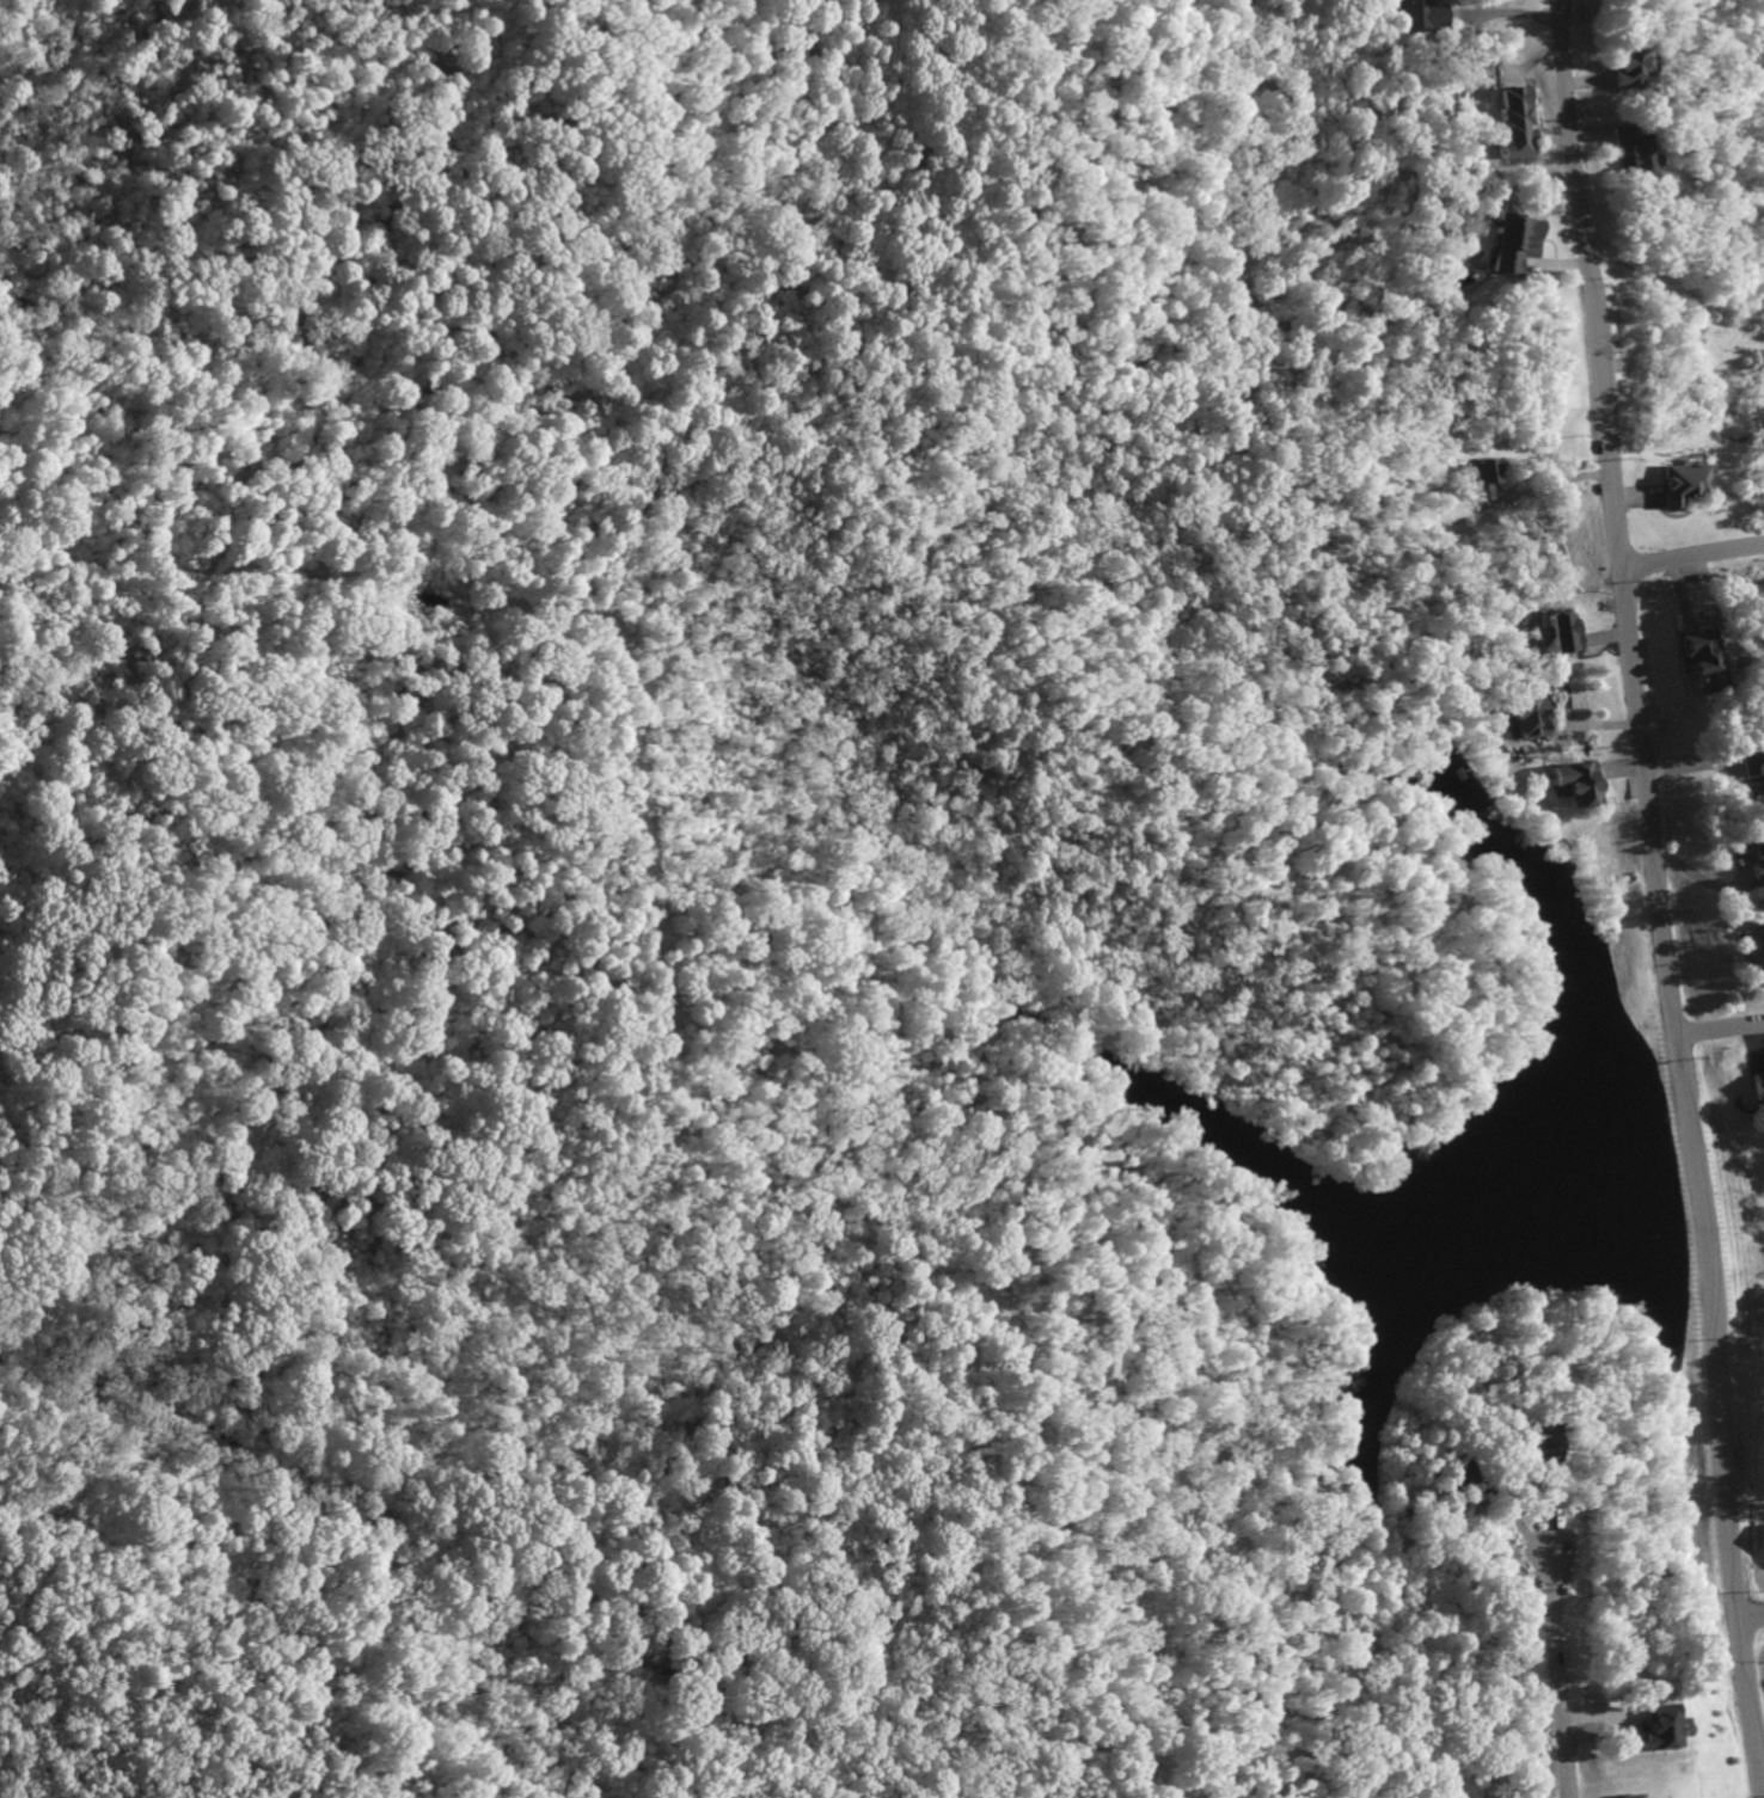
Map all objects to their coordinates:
road: (1509, 16)
building: (1433, 17)
building: (1618, 68)
building: (1508, 125)
road: (1567, 147)
building: (1624, 157)
building: (1506, 244)
road: (1590, 348)
building: (1476, 480)
building: (1676, 484)
road: (1690, 558)
building: (1555, 633)
building: (1690, 659)
building: (1525, 714)
building: (1751, 763)
building: (1569, 785)
building: (1748, 855)
building: (1754, 919)
road: (1716, 1031)
building: (1753, 1082)
road: (1679, 1100)
road: (1751, 1619)
road: (1557, 1674)
building: (1649, 1730)
building: (1618, 1796)

